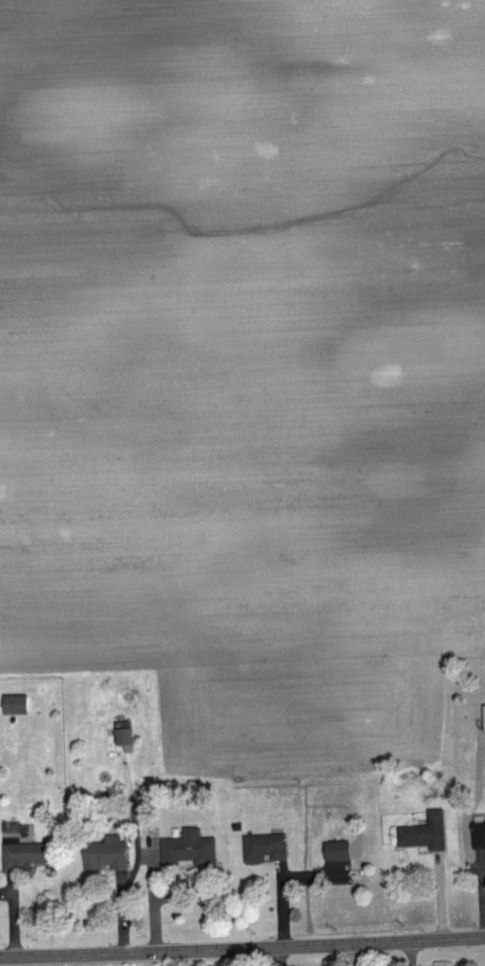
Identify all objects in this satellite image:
building: (16, 704)
building: (484, 708)
building: (124, 738)
building: (423, 830)
building: (478, 830)
building: (264, 845)
building: (189, 846)
building: (22, 850)
building: (338, 850)
building: (105, 851)
road: (480, 884)
road: (242, 947)
road: (410, 952)
road: (353, 954)
road: (280, 956)

